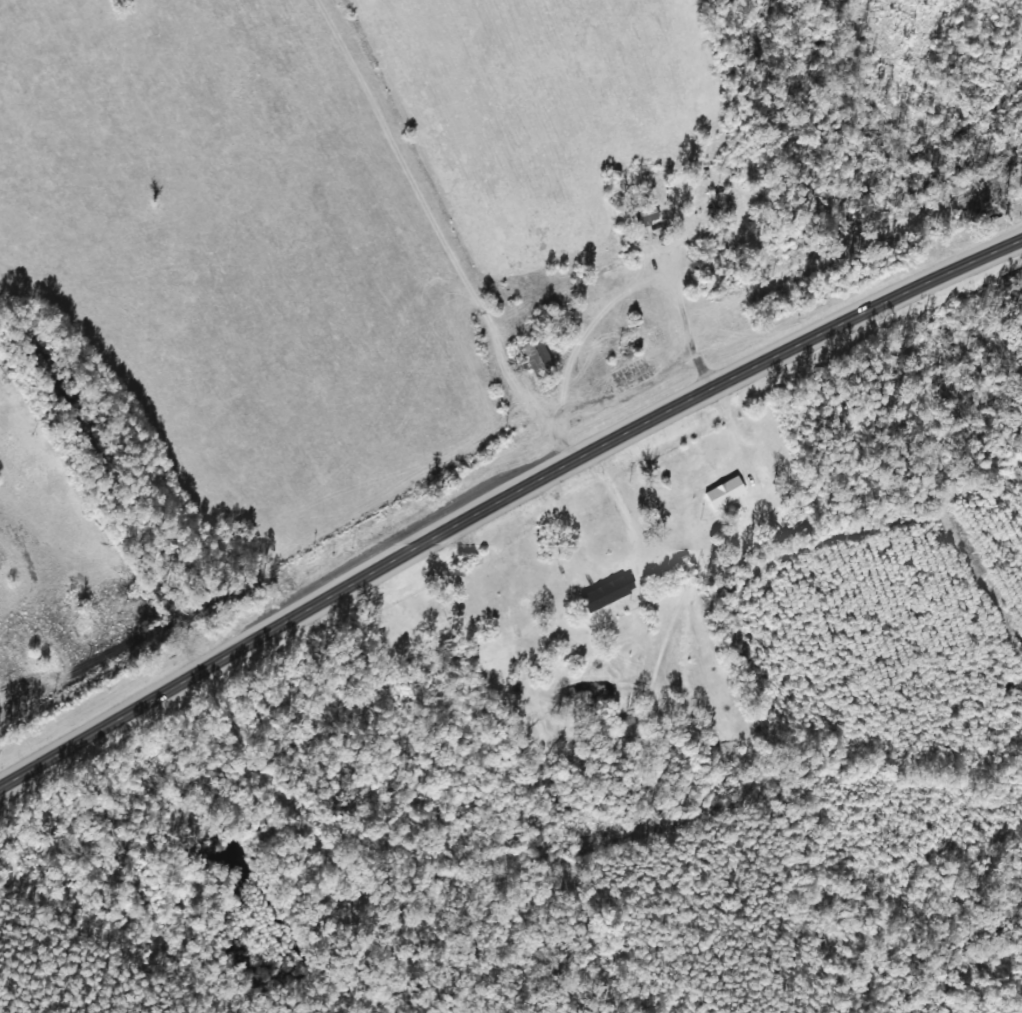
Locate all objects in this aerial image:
road: (376, 259)
road: (501, 503)
building: (608, 592)
park: (410, 636)

